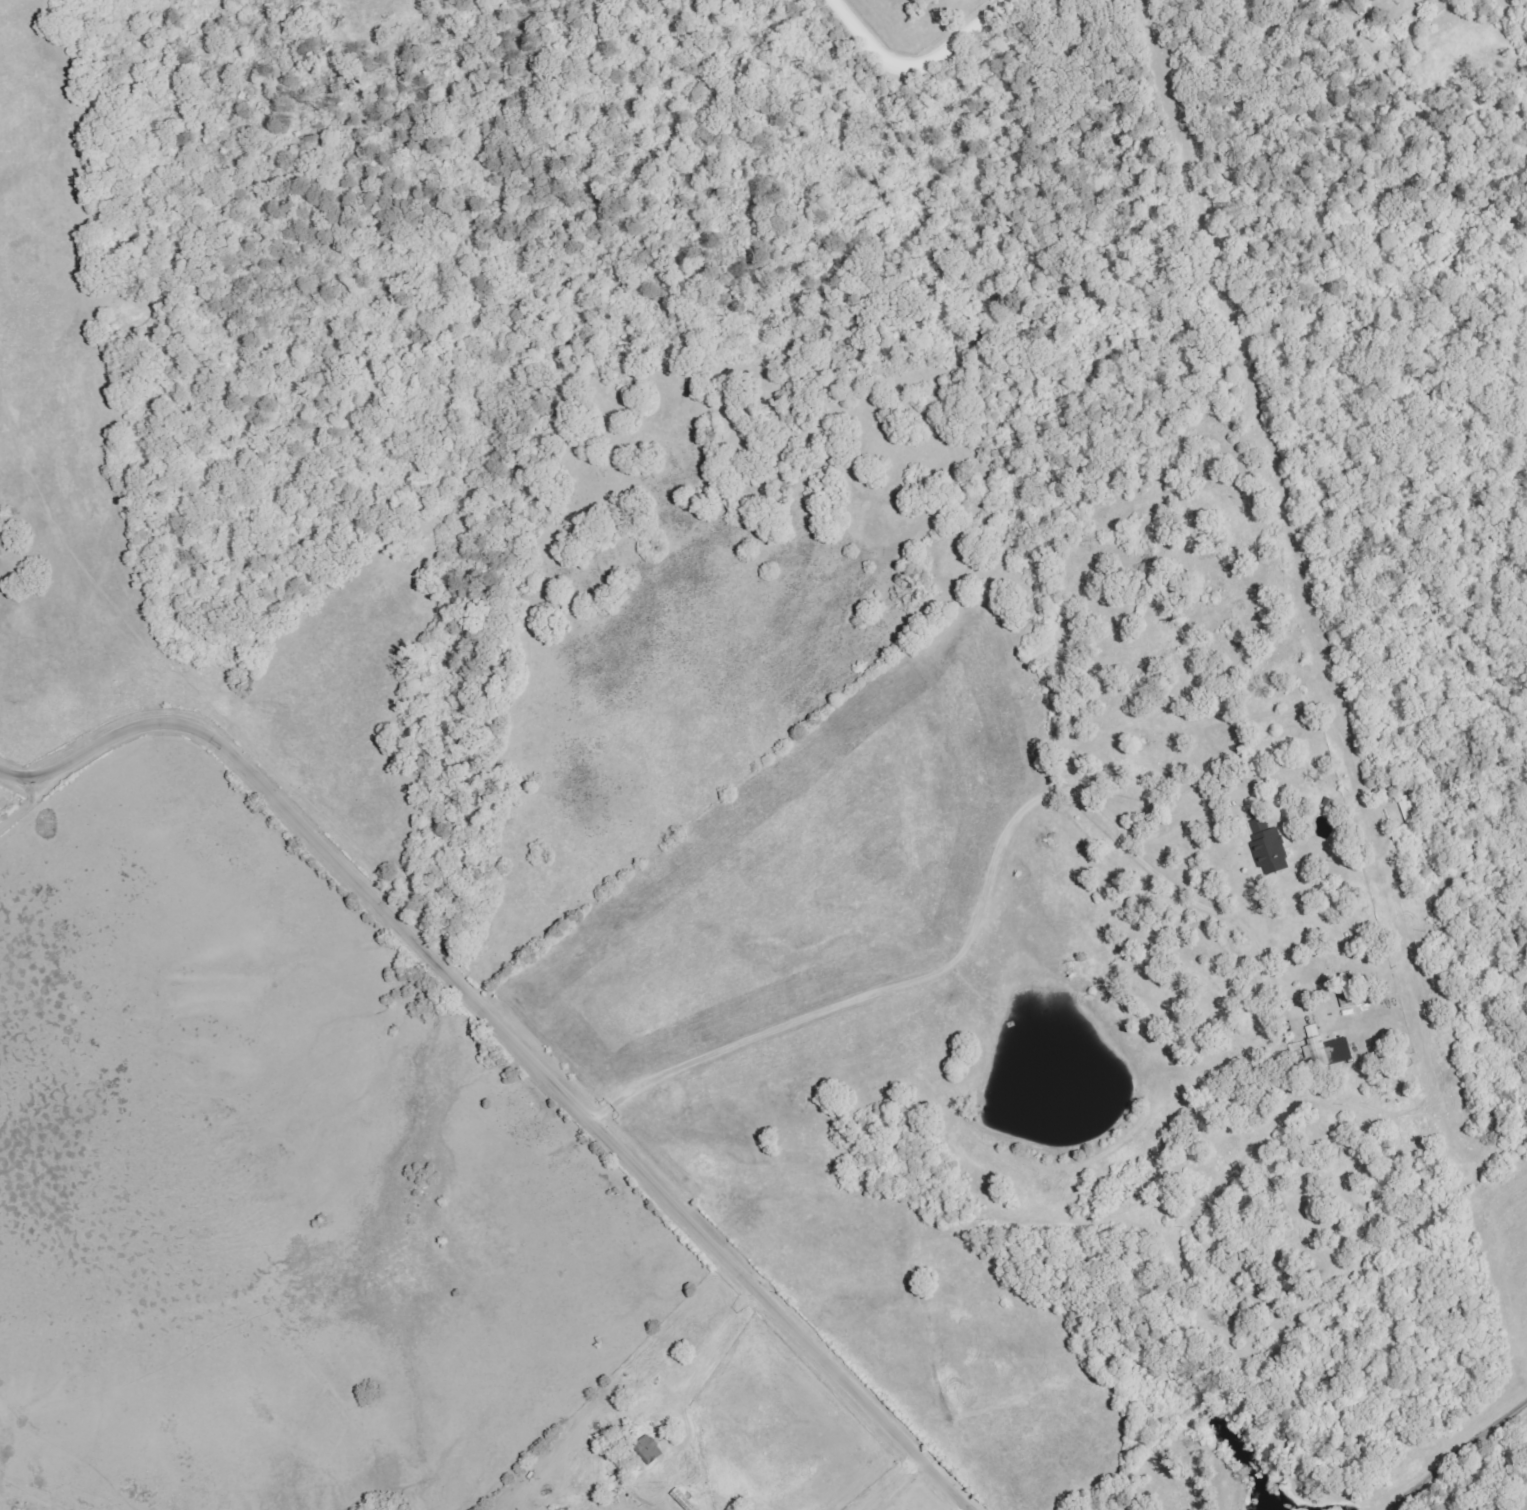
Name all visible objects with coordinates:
building: (1370, 0)
road: (923, 61)
road: (25, 776)
road: (25, 811)
building: (1267, 849)
road: (966, 949)
building: (1327, 1049)
road: (529, 1054)
road: (712, 1359)
building: (647, 1449)
road: (1460, 1460)
road: (911, 1486)

